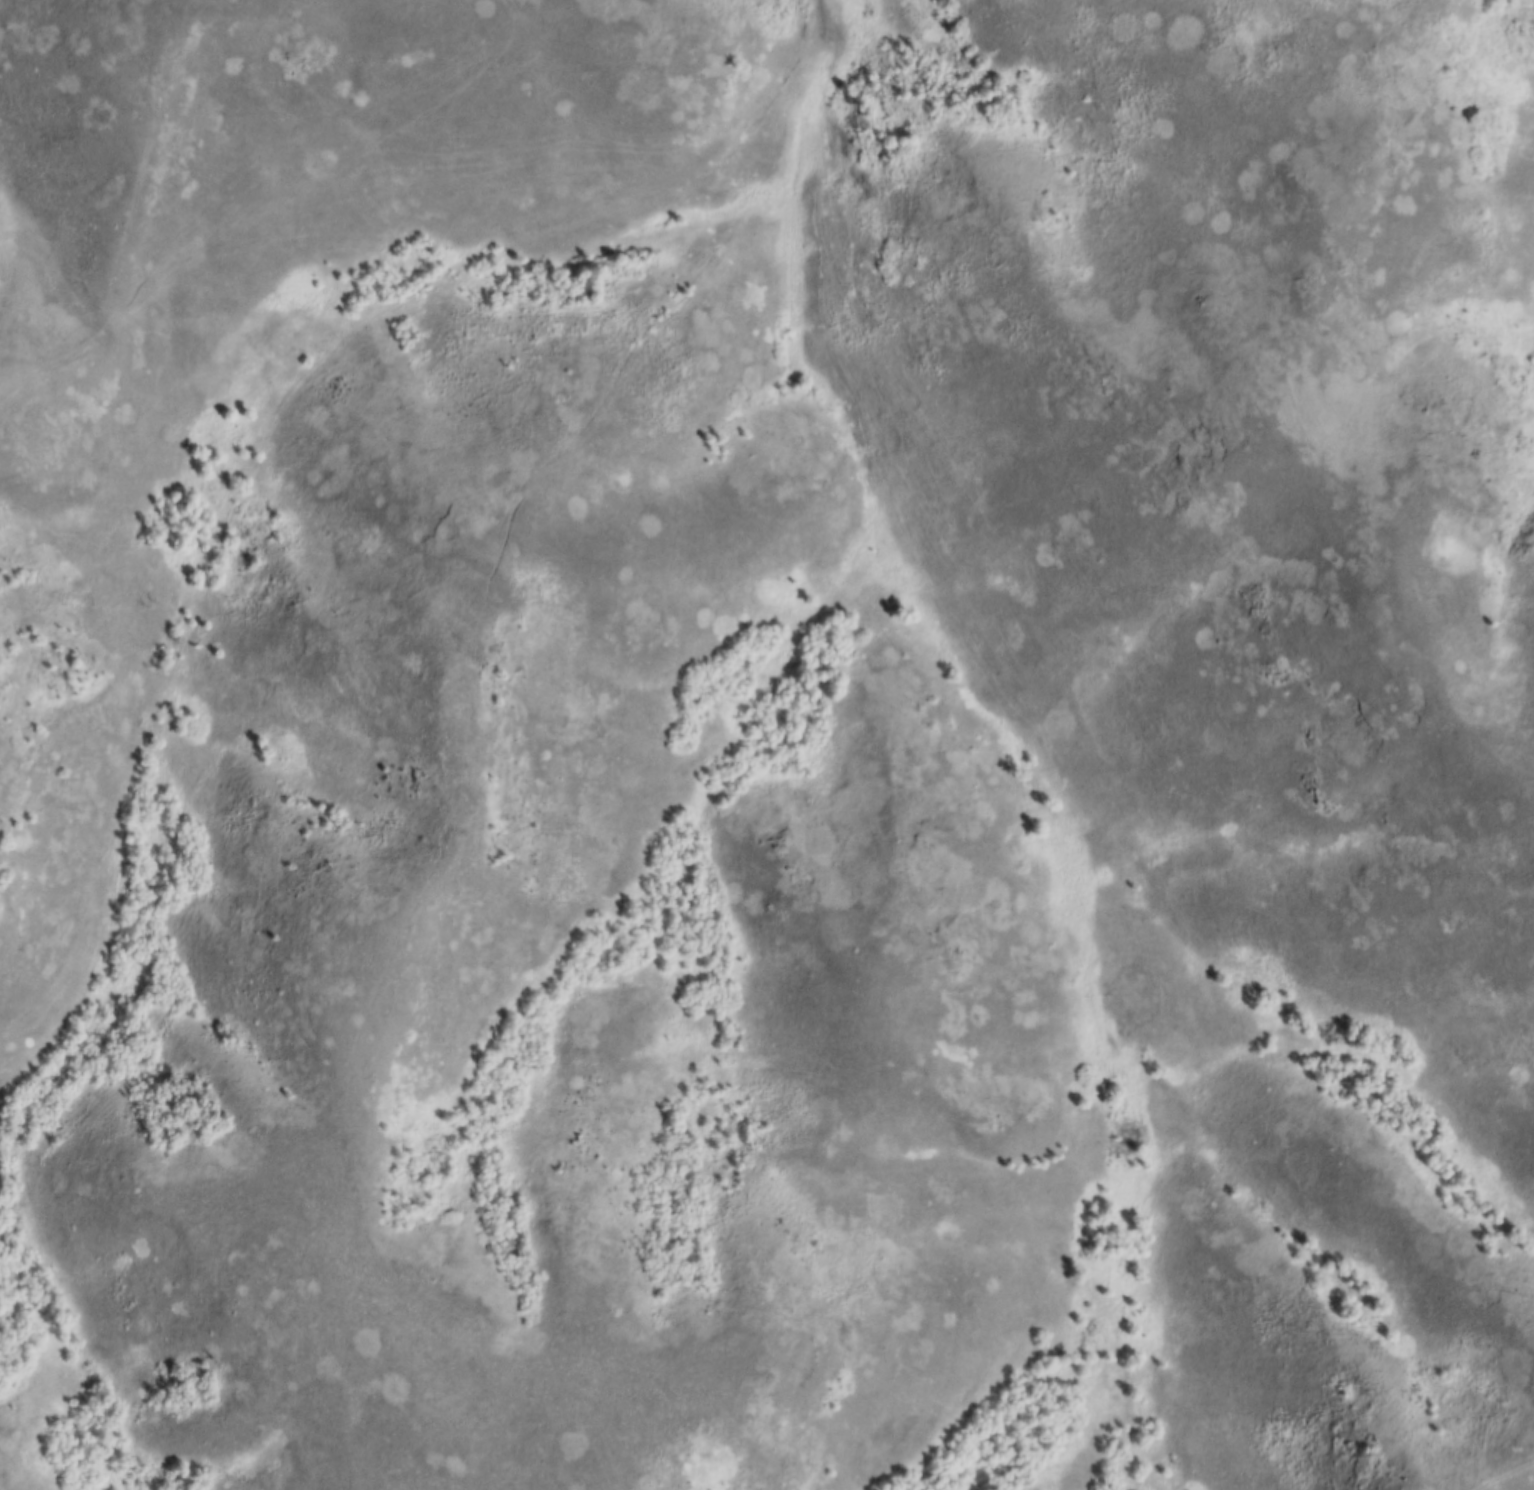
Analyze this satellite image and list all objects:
road: (1484, 1465)

